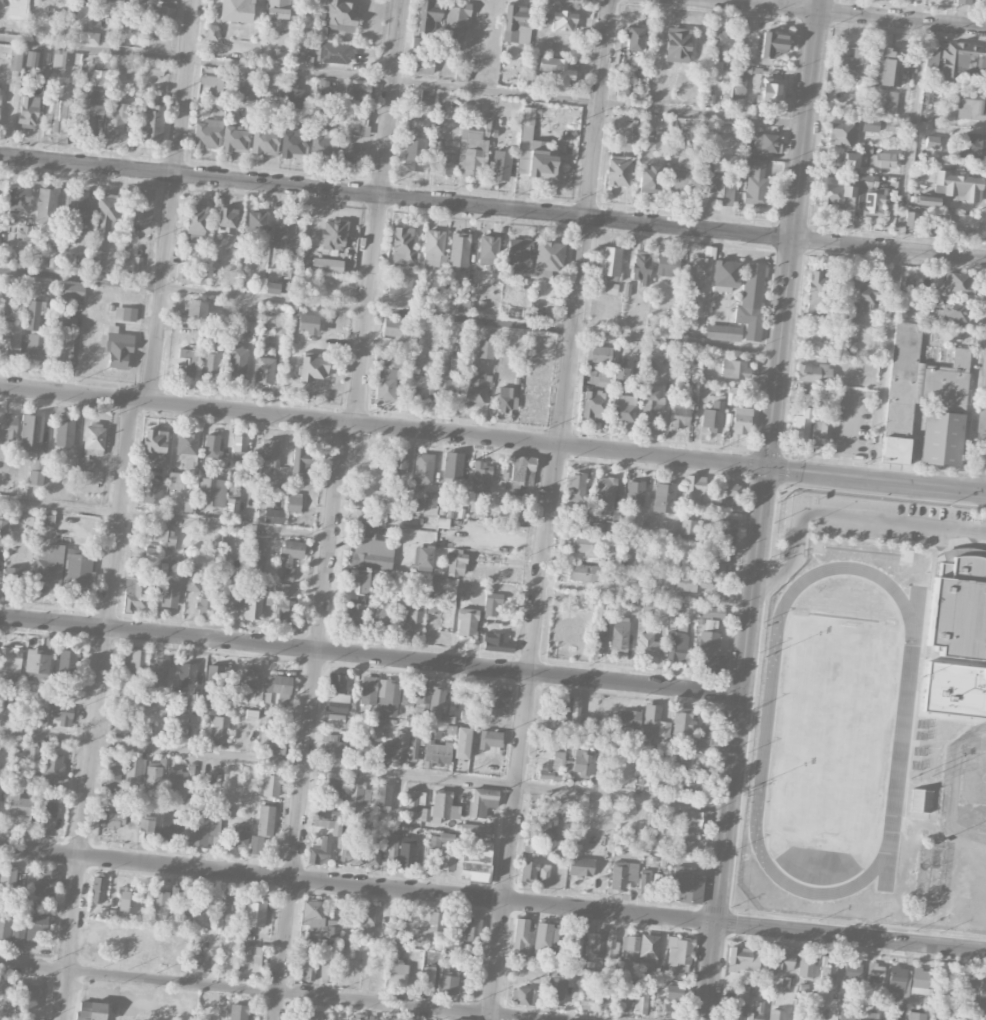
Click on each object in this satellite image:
building: (97, 1)
building: (963, 1)
building: (1, 3)
building: (16, 9)
building: (161, 11)
building: (235, 11)
building: (279, 12)
building: (82, 13)
road: (850, 14)
building: (428, 15)
building: (336, 17)
building: (545, 19)
building: (563, 20)
building: (454, 23)
building: (516, 23)
building: (87, 36)
building: (633, 37)
building: (417, 43)
building: (772, 44)
building: (677, 45)
building: (332, 53)
building: (277, 56)
building: (14, 59)
building: (32, 59)
building: (58, 59)
building: (305, 59)
building: (850, 62)
building: (963, 62)
building: (423, 63)
building: (131, 66)
building: (891, 68)
building: (156, 69)
building: (99, 72)
building: (557, 73)
building: (213, 80)
building: (741, 80)
road: (402, 81)
building: (219, 83)
building: (322, 89)
building: (358, 90)
building: (621, 90)
building: (247, 91)
building: (297, 92)
building: (771, 92)
building: (426, 96)
building: (890, 101)
building: (968, 106)
building: (28, 111)
building: (57, 115)
building: (528, 115)
building: (90, 117)
building: (115, 120)
building: (355, 120)
building: (151, 124)
building: (869, 124)
building: (891, 125)
building: (205, 133)
building: (841, 134)
building: (323, 137)
building: (235, 140)
building: (264, 141)
building: (932, 141)
building: (660, 142)
building: (765, 142)
building: (293, 143)
building: (971, 146)
building: (413, 150)
building: (471, 153)
building: (351, 156)
building: (540, 159)
building: (850, 160)
building: (882, 160)
building: (442, 161)
building: (522, 161)
building: (500, 165)
building: (618, 170)
building: (647, 179)
building: (679, 179)
building: (754, 181)
building: (715, 184)
building: (958, 186)
building: (836, 192)
building: (18, 199)
road: (173, 201)
building: (928, 201)
building: (870, 203)
building: (46, 205)
building: (142, 205)
road: (492, 207)
building: (77, 212)
road: (379, 212)
building: (105, 213)
building: (910, 218)
building: (226, 220)
building: (195, 222)
road: (587, 222)
building: (256, 223)
building: (962, 223)
building: (24, 232)
building: (286, 234)
building: (333, 235)
building: (402, 245)
building: (459, 249)
building: (487, 249)
building: (434, 250)
road: (895, 250)
building: (518, 255)
building: (547, 258)
building: (610, 262)
building: (93, 263)
building: (137, 263)
building: (327, 265)
building: (667, 265)
building: (641, 267)
building: (697, 270)
building: (193, 275)
building: (725, 275)
building: (909, 283)
building: (958, 283)
building: (272, 288)
building: (611, 288)
building: (70, 290)
building: (816, 290)
building: (400, 291)
building: (858, 300)
building: (751, 301)
building: (462, 305)
building: (195, 307)
road: (389, 311)
building: (953, 311)
building: (125, 313)
building: (251, 314)
building: (307, 323)
building: (395, 329)
building: (12, 330)
building: (32, 332)
building: (723, 333)
building: (949, 335)
building: (117, 347)
building: (62, 348)
building: (485, 349)
building: (601, 354)
building: (389, 359)
building: (236, 361)
building: (185, 362)
building: (210, 363)
building: (313, 366)
building: (264, 369)
building: (735, 369)
building: (813, 373)
building: (619, 376)
building: (598, 380)
building: (951, 381)
building: (385, 384)
building: (442, 385)
building: (416, 387)
building: (474, 388)
building: (902, 391)
building: (506, 398)
building: (652, 403)
building: (594, 404)
building: (623, 408)
building: (681, 414)
building: (713, 416)
building: (741, 420)
building: (800, 425)
building: (7, 428)
building: (819, 432)
building: (64, 433)
building: (30, 435)
road: (492, 438)
building: (941, 438)
building: (91, 444)
building: (154, 444)
building: (239, 446)
building: (187, 447)
building: (212, 447)
building: (270, 452)
road: (982, 458)
building: (400, 462)
building: (300, 463)
building: (452, 465)
traffic signals: (766, 467)
building: (423, 468)
building: (36, 472)
building: (520, 473)
building: (481, 478)
building: (175, 481)
building: (576, 486)
building: (693, 488)
building: (729, 489)
building: (211, 491)
building: (605, 493)
building: (634, 493)
building: (152, 495)
building: (663, 497)
building: (374, 498)
building: (430, 500)
building: (293, 502)
building: (231, 505)
building: (577, 505)
road: (761, 510)
road: (838, 513)
building: (272, 514)
road: (164, 517)
building: (369, 519)
building: (583, 523)
building: (3, 525)
building: (690, 526)
building: (600, 527)
building: (727, 531)
building: (168, 539)
building: (585, 546)
building: (256, 551)
building: (372, 551)
building: (291, 553)
building: (151, 554)
building: (423, 558)
building: (706, 560)
building: (638, 561)
building: (455, 563)
building: (49, 569)
building: (78, 573)
building: (585, 573)
building: (16, 576)
building: (194, 577)
building: (358, 580)
building: (693, 583)
building: (133, 594)
building: (168, 594)
building: (236, 601)
building: (253, 602)
building: (491, 603)
building: (648, 605)
building: (203, 607)
building: (959, 607)
building: (286, 608)
building: (600, 612)
building: (713, 612)
building: (355, 613)
building: (380, 614)
building: (675, 616)
building: (413, 620)
building: (467, 622)
building: (710, 625)
building: (619, 633)
building: (496, 642)
building: (597, 642)
building: (647, 644)
building: (677, 646)
building: (711, 654)
road: (369, 657)
building: (137, 661)
building: (67, 662)
building: (10, 663)
building: (37, 663)
building: (157, 671)
building: (187, 672)
building: (219, 677)
building: (249, 679)
building: (336, 683)
building: (276, 687)
building: (954, 689)
building: (368, 690)
building: (414, 693)
building: (501, 697)
building: (389, 699)
building: (436, 703)
building: (337, 706)
building: (209, 707)
building: (467, 707)
building: (562, 708)
road: (97, 709)
building: (575, 710)
building: (61, 714)
building: (37, 716)
building: (629, 718)
building: (339, 720)
road: (310, 721)
building: (682, 722)
building: (653, 724)
building: (180, 725)
track: (902, 728)
building: (374, 729)
building: (219, 730)
road: (523, 732)
park: (833, 732)
building: (122, 733)
building: (706, 736)
building: (432, 737)
building: (489, 741)
building: (462, 743)
building: (275, 746)
building: (397, 747)
building: (413, 748)
building: (440, 753)
building: (33, 758)
building: (691, 760)
building: (581, 763)
building: (54, 766)
building: (551, 768)
road: (363, 770)
building: (134, 771)
building: (112, 772)
building: (153, 775)
building: (177, 781)
building: (693, 784)
building: (271, 785)
building: (331, 789)
building: (357, 794)
building: (383, 796)
building: (415, 800)
building: (920, 800)
building: (482, 801)
building: (19, 805)
building: (52, 808)
building: (440, 808)
building: (652, 818)
building: (693, 819)
building: (114, 820)
building: (264, 820)
building: (543, 824)
building: (170, 825)
building: (667, 825)
building: (146, 826)
building: (330, 826)
building: (475, 828)
building: (203, 830)
building: (390, 835)
park: (962, 835)
building: (239, 836)
building: (440, 838)
building: (255, 844)
building: (391, 850)
building: (320, 851)
building: (406, 851)
building: (350, 854)
building: (373, 854)
building: (467, 859)
building: (580, 866)
building: (528, 871)
building: (622, 874)
building: (543, 875)
building: (7, 878)
building: (649, 882)
building: (44, 883)
building: (687, 884)
building: (97, 887)
building: (127, 899)
road: (493, 899)
building: (159, 903)
building: (224, 906)
building: (185, 910)
building: (253, 913)
building: (365, 914)
building: (313, 916)
building: (36, 921)
building: (435, 921)
building: (4, 926)
building: (332, 928)
building: (471, 929)
building: (556, 935)
building: (520, 936)
building: (542, 938)
building: (595, 942)
building: (630, 942)
building: (610, 945)
building: (648, 947)
building: (575, 948)
building: (679, 954)
building: (741, 958)
building: (256, 959)
building: (784, 960)
building: (195, 963)
building: (805, 966)
building: (307, 967)
building: (827, 967)
building: (944, 969)
building: (326, 970)
building: (851, 970)
building: (874, 973)
building: (397, 975)
building: (428, 978)
building: (573, 978)
building: (899, 979)
building: (919, 981)
building: (447, 982)
building: (963, 982)
road: (270, 990)
building: (555, 991)
building: (673, 991)
building: (982, 992)
building: (8, 995)
building: (743, 995)
building: (522, 996)
building: (588, 996)
building: (27, 997)
building: (624, 1000)
building: (640, 1001)
building: (798, 1009)
building: (90, 1010)
building: (671, 1011)
building: (755, 1011)
building: (238, 1012)
building: (311, 1012)
building: (731, 1014)
building: (846, 1014)
building: (869, 1016)
building: (915, 1016)
building: (943, 1016)
building: (361, 1017)
building: (891, 1018)
building: (451, 1019)

